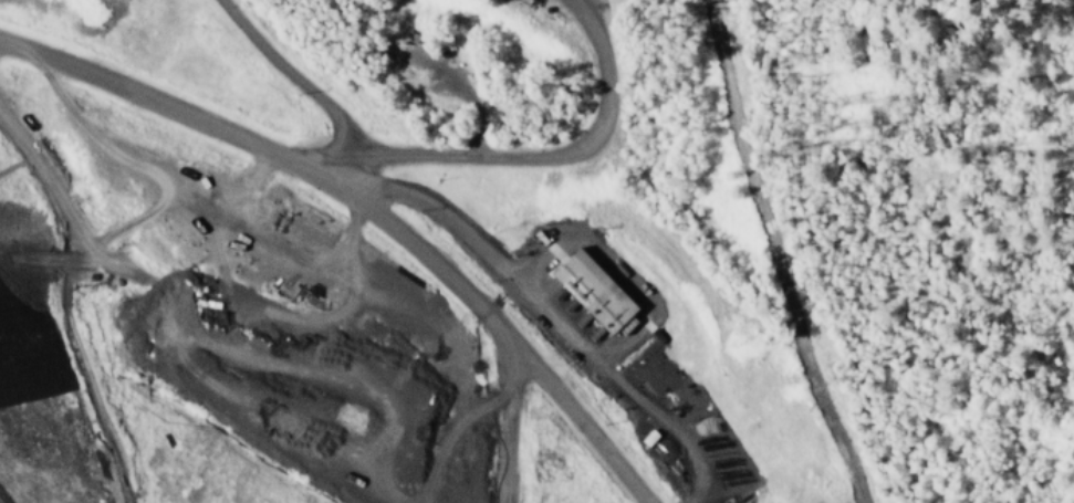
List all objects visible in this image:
road: (366, 213)
landfill: (405, 259)
building: (594, 290)

